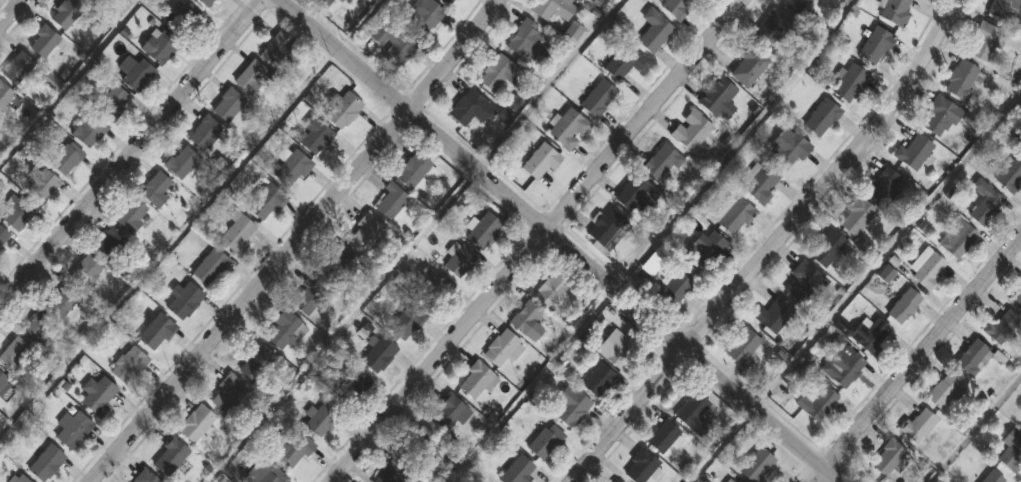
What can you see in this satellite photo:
building: (207, 2)
building: (448, 2)
building: (91, 3)
building: (324, 3)
building: (793, 5)
building: (677, 7)
building: (554, 8)
building: (1002, 8)
road: (8, 10)
building: (896, 12)
building: (67, 13)
building: (187, 19)
road: (359, 24)
building: (775, 29)
building: (654, 31)
building: (574, 32)
building: (44, 40)
building: (529, 42)
building: (984, 42)
building: (394, 43)
building: (161, 45)
building: (875, 45)
building: (279, 50)
building: (625, 62)
building: (749, 66)
building: (18, 67)
building: (137, 72)
building: (498, 74)
building: (252, 77)
building: (964, 79)
road: (549, 83)
building: (851, 83)
road: (73, 84)
building: (5, 95)
building: (717, 95)
building: (599, 98)
building: (113, 102)
building: (228, 104)
building: (473, 109)
building: (342, 110)
building: (939, 117)
building: (822, 118)
building: (90, 130)
building: (569, 130)
building: (691, 130)
building: (206, 133)
building: (314, 135)
road: (733, 145)
building: (788, 149)
road: (132, 152)
building: (914, 152)
building: (64, 156)
building: (182, 161)
building: (541, 161)
building: (663, 162)
building: (293, 168)
building: (415, 170)
building: (1011, 175)
building: (41, 183)
building: (761, 183)
building: (884, 186)
building: (156, 189)
building: (636, 192)
building: (267, 201)
building: (392, 202)
building: (985, 203)
building: (17, 212)
building: (132, 215)
building: (733, 215)
building: (856, 217)
building: (608, 229)
building: (484, 230)
building: (367, 231)
building: (238, 233)
building: (4, 237)
building: (958, 239)
road: (530, 241)
road: (291, 242)
road: (560, 242)
building: (109, 243)
road: (767, 245)
road: (170, 248)
road: (887, 248)
building: (710, 249)
building: (828, 249)
building: (335, 260)
building: (460, 261)
building: (654, 263)
building: (211, 267)
building: (927, 269)
building: (88, 270)
building: (805, 283)
building: (679, 286)
building: (430, 287)
building: (556, 290)
building: (310, 294)
building: (67, 297)
building: (1018, 298)
building: (185, 301)
building: (904, 306)
building: (774, 315)
building: (525, 316)
building: (406, 322)
road: (341, 324)
building: (39, 327)
building: (1002, 327)
building: (284, 329)
building: (156, 332)
building: (871, 335)
building: (742, 346)
building: (502, 349)
building: (622, 349)
building: (15, 355)
building: (379, 355)
road: (913, 355)
building: (973, 358)
building: (257, 362)
building: (129, 364)
building: (843, 367)
building: (477, 380)
building: (599, 380)
building: (3, 382)
road: (530, 385)
building: (350, 387)
building: (944, 391)
building: (228, 394)
building: (98, 395)
building: (817, 404)
building: (571, 406)
building: (691, 409)
building: (449, 413)
building: (323, 418)
building: (196, 423)
building: (919, 425)
road: (975, 429)
building: (73, 430)
building: (663, 437)
building: (546, 442)
building: (419, 444)
road: (723, 446)
building: (290, 449)
building: (1011, 451)
building: (169, 456)
building: (887, 458)
building: (46, 463)
building: (642, 463)
building: (757, 465)
building: (518, 470)
building: (395, 473)
building: (269, 475)
building: (145, 476)
building: (992, 477)
building: (21, 479)
building: (733, 480)
building: (615, 481)

